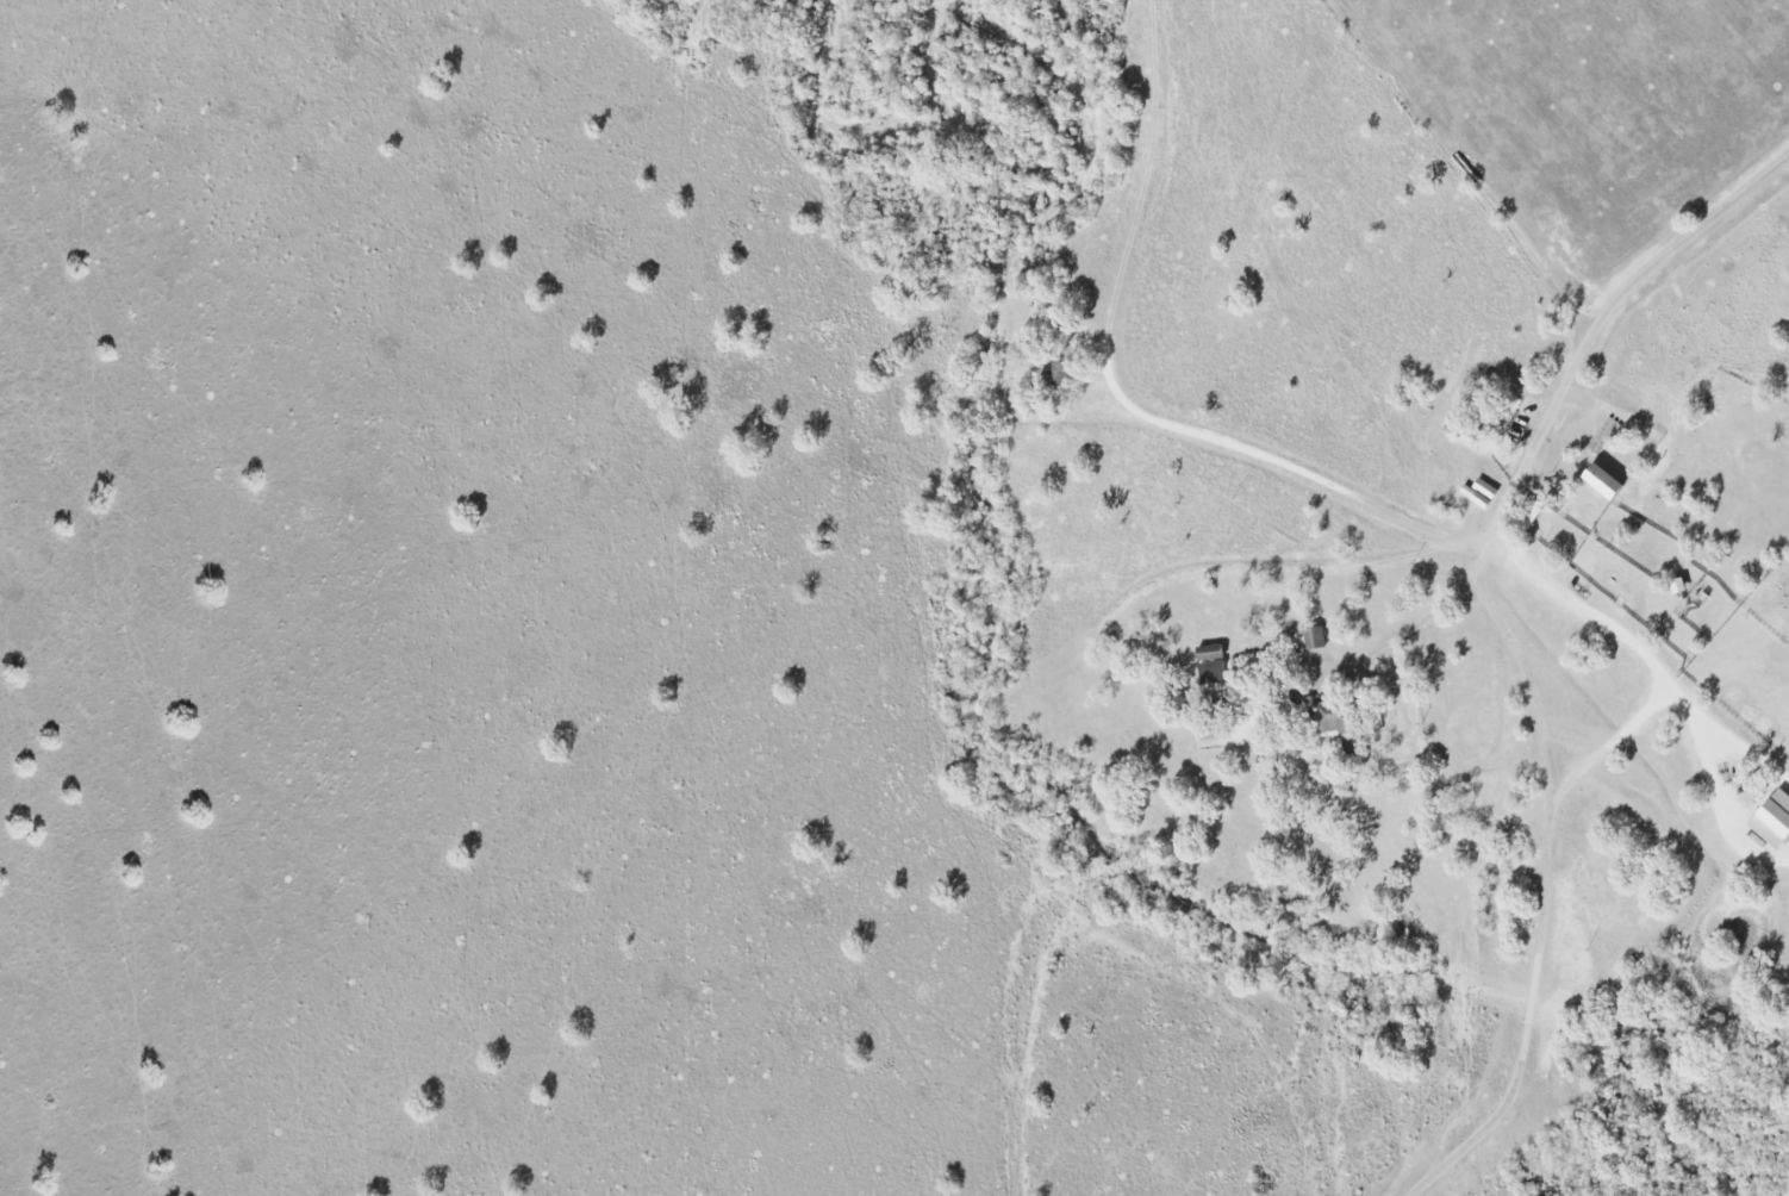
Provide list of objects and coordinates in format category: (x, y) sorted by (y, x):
road: (1137, 166)
road: (1600, 319)
building: (1061, 372)
road: (1270, 457)
building: (1610, 481)
building: (1316, 637)
road: (1646, 654)
building: (1213, 665)
building: (1338, 716)
building: (1776, 820)
road: (1546, 880)

